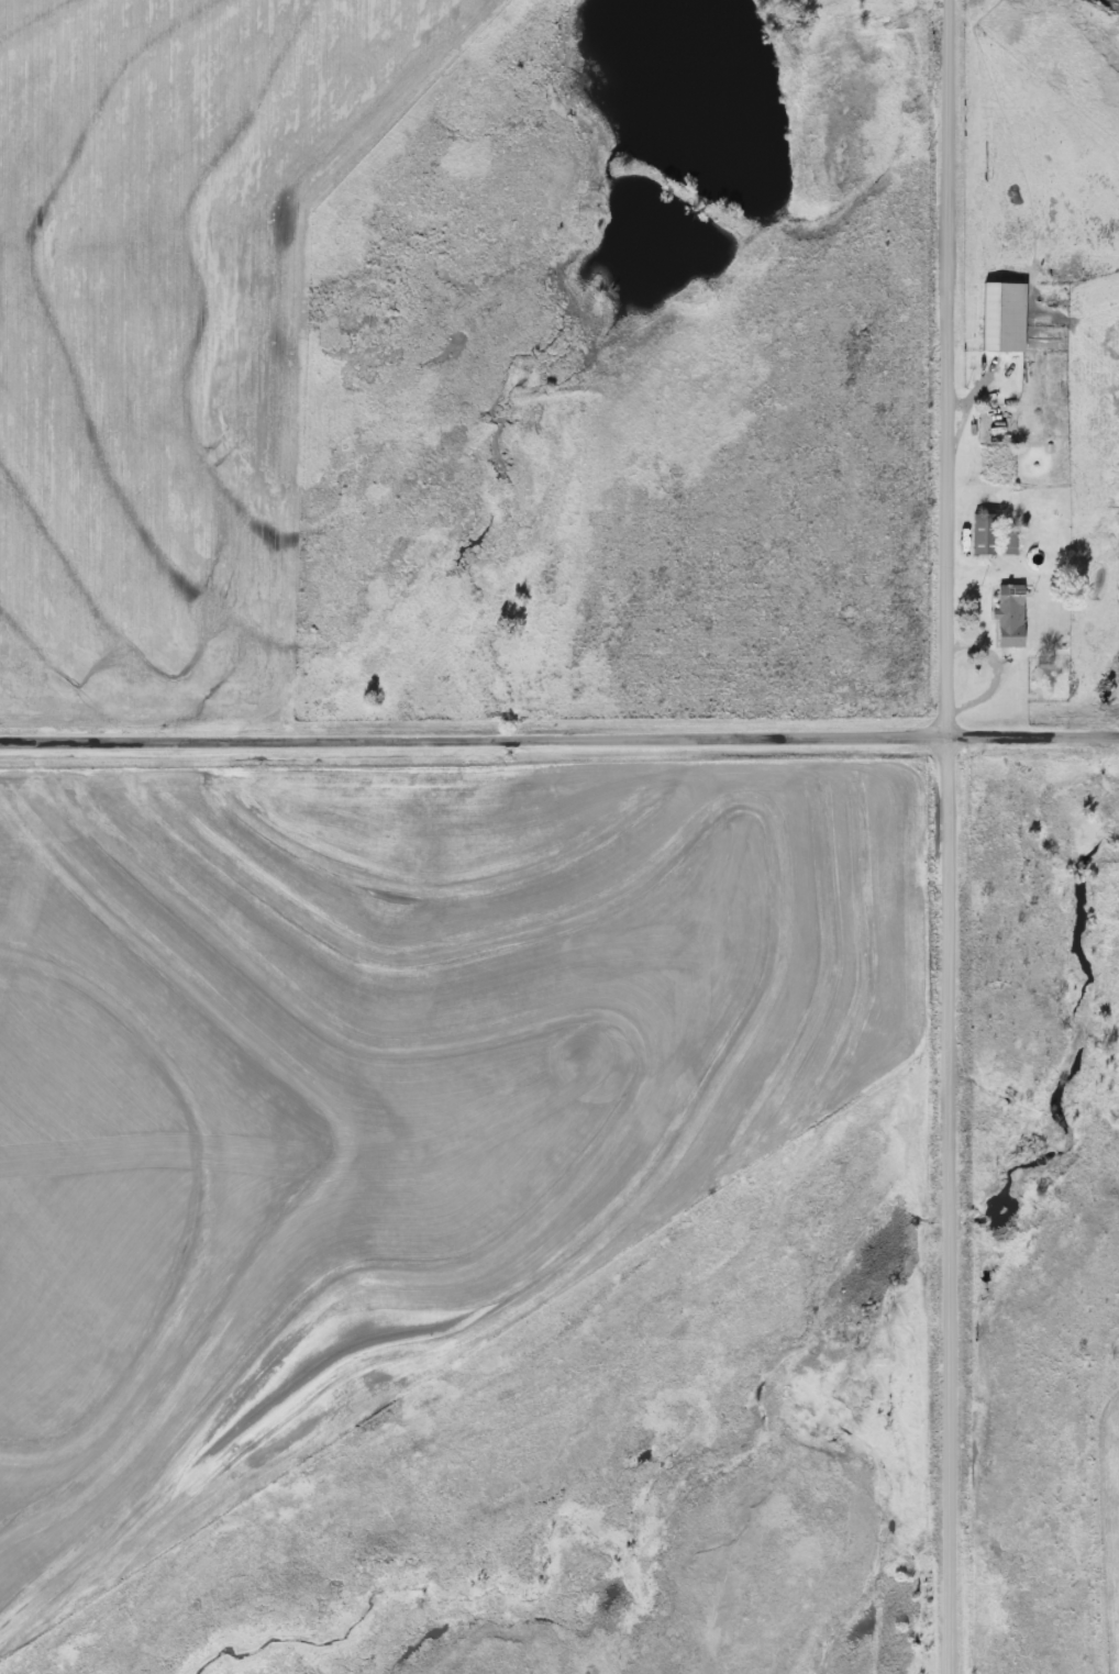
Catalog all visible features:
building: (1002, 319)
building: (991, 537)
building: (1010, 617)
road: (1032, 729)
road: (473, 733)
road: (946, 836)

